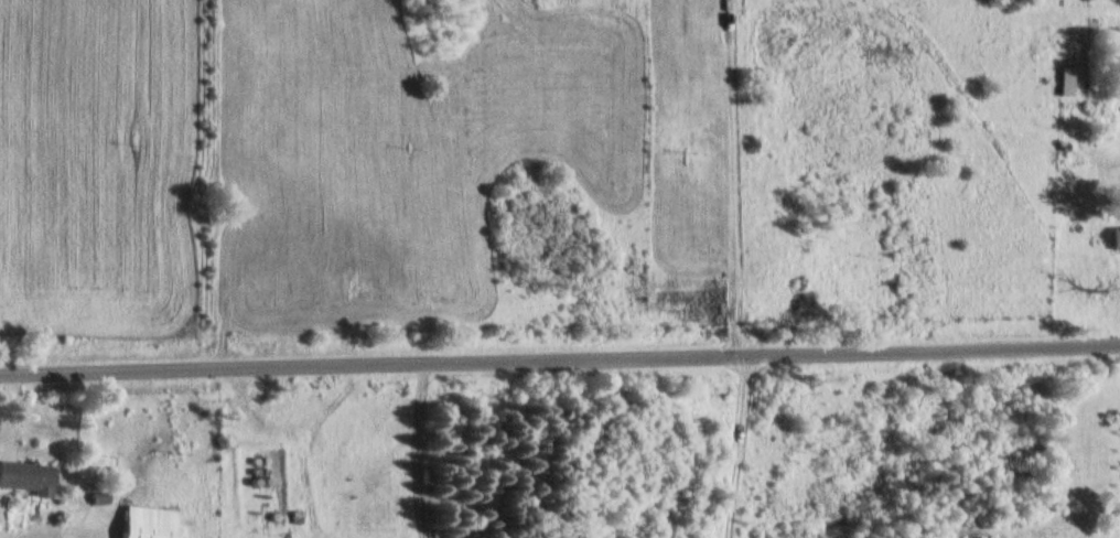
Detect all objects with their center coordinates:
building: (1069, 79)
building: (1117, 237)
road: (559, 357)
road: (421, 449)
building: (30, 476)
building: (152, 523)

